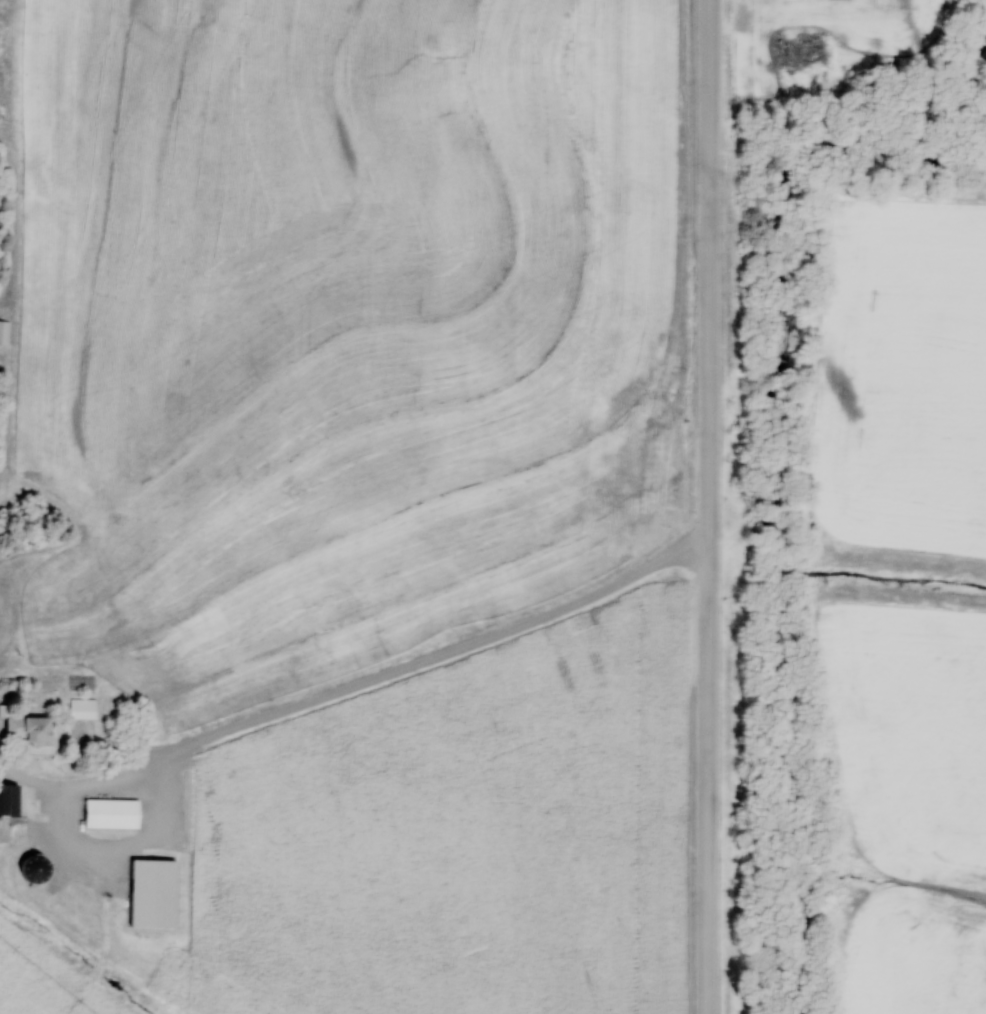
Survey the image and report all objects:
road: (709, 507)
building: (83, 709)
building: (29, 730)
building: (9, 801)
building: (115, 815)
building: (158, 894)

